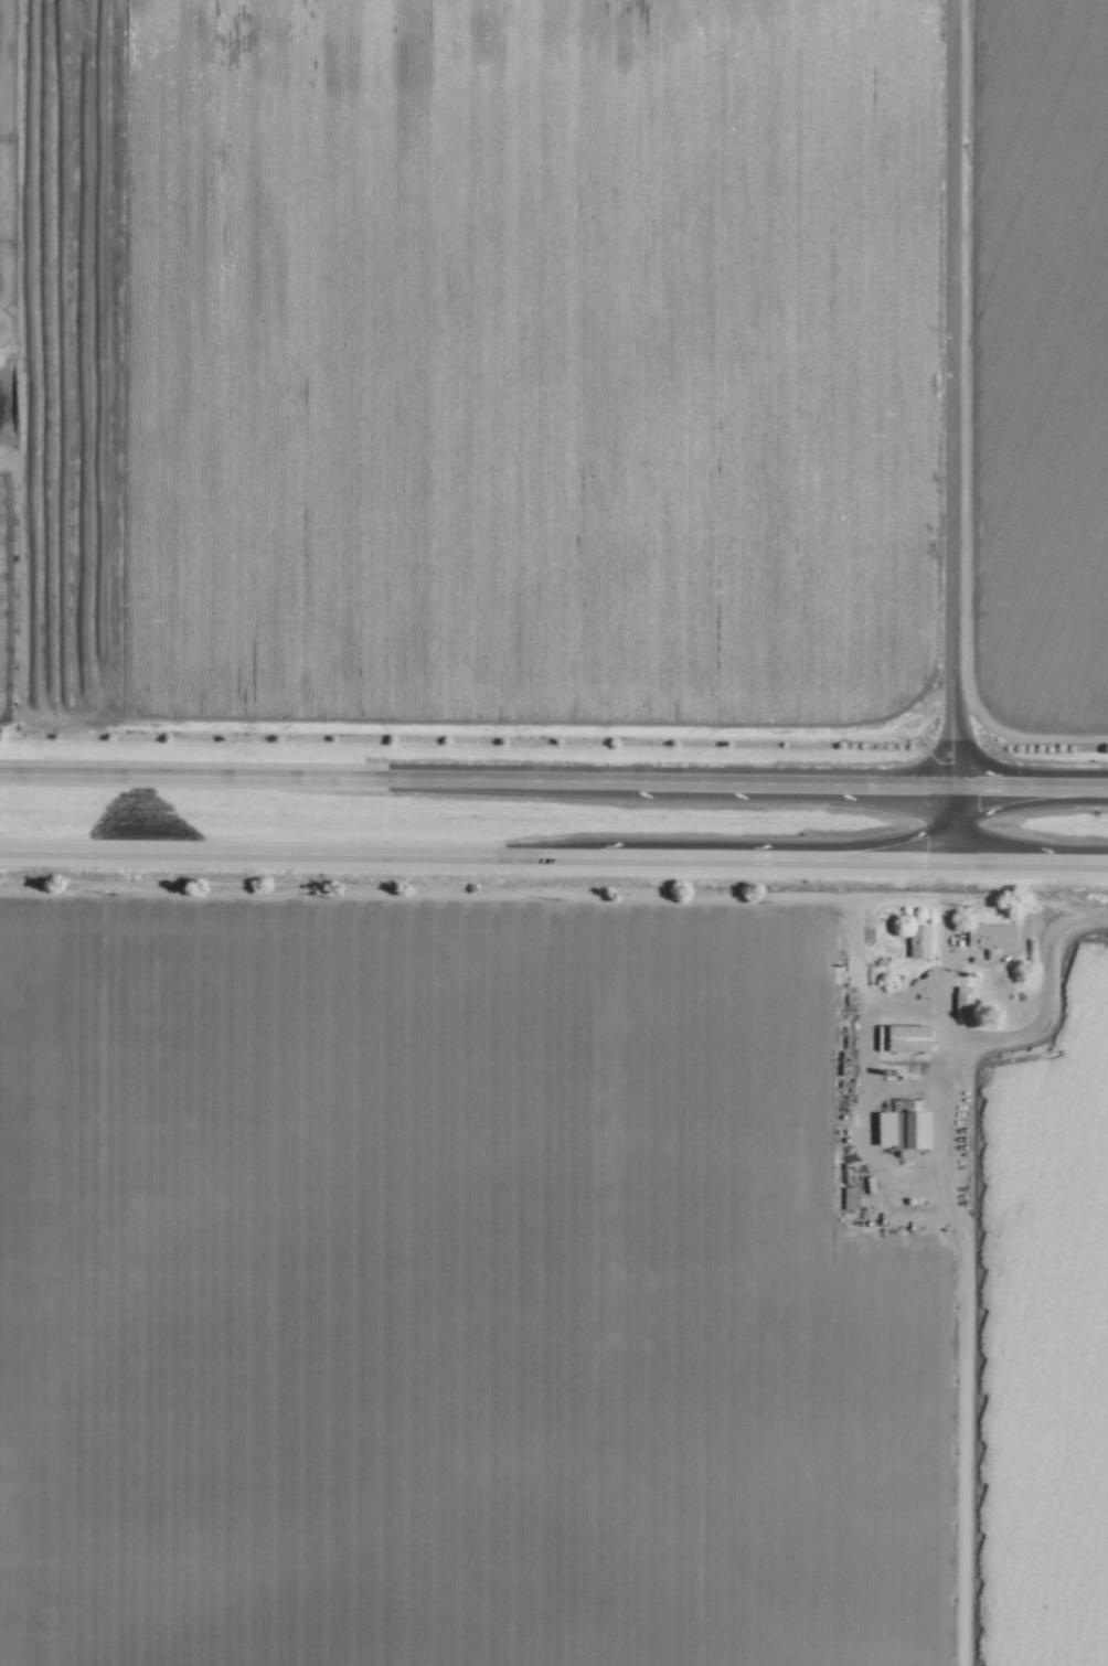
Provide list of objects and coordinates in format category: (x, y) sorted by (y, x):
road: (948, 430)
road: (473, 780)
road: (1027, 787)
road: (471, 854)
road: (1025, 861)
road: (461, 891)
building: (987, 933)
building: (914, 940)
road: (1025, 985)
road: (882, 1001)
building: (901, 1035)
road: (882, 1085)
road: (842, 1086)
building: (897, 1128)
road: (891, 1166)
building: (844, 1197)
road: (940, 1279)

